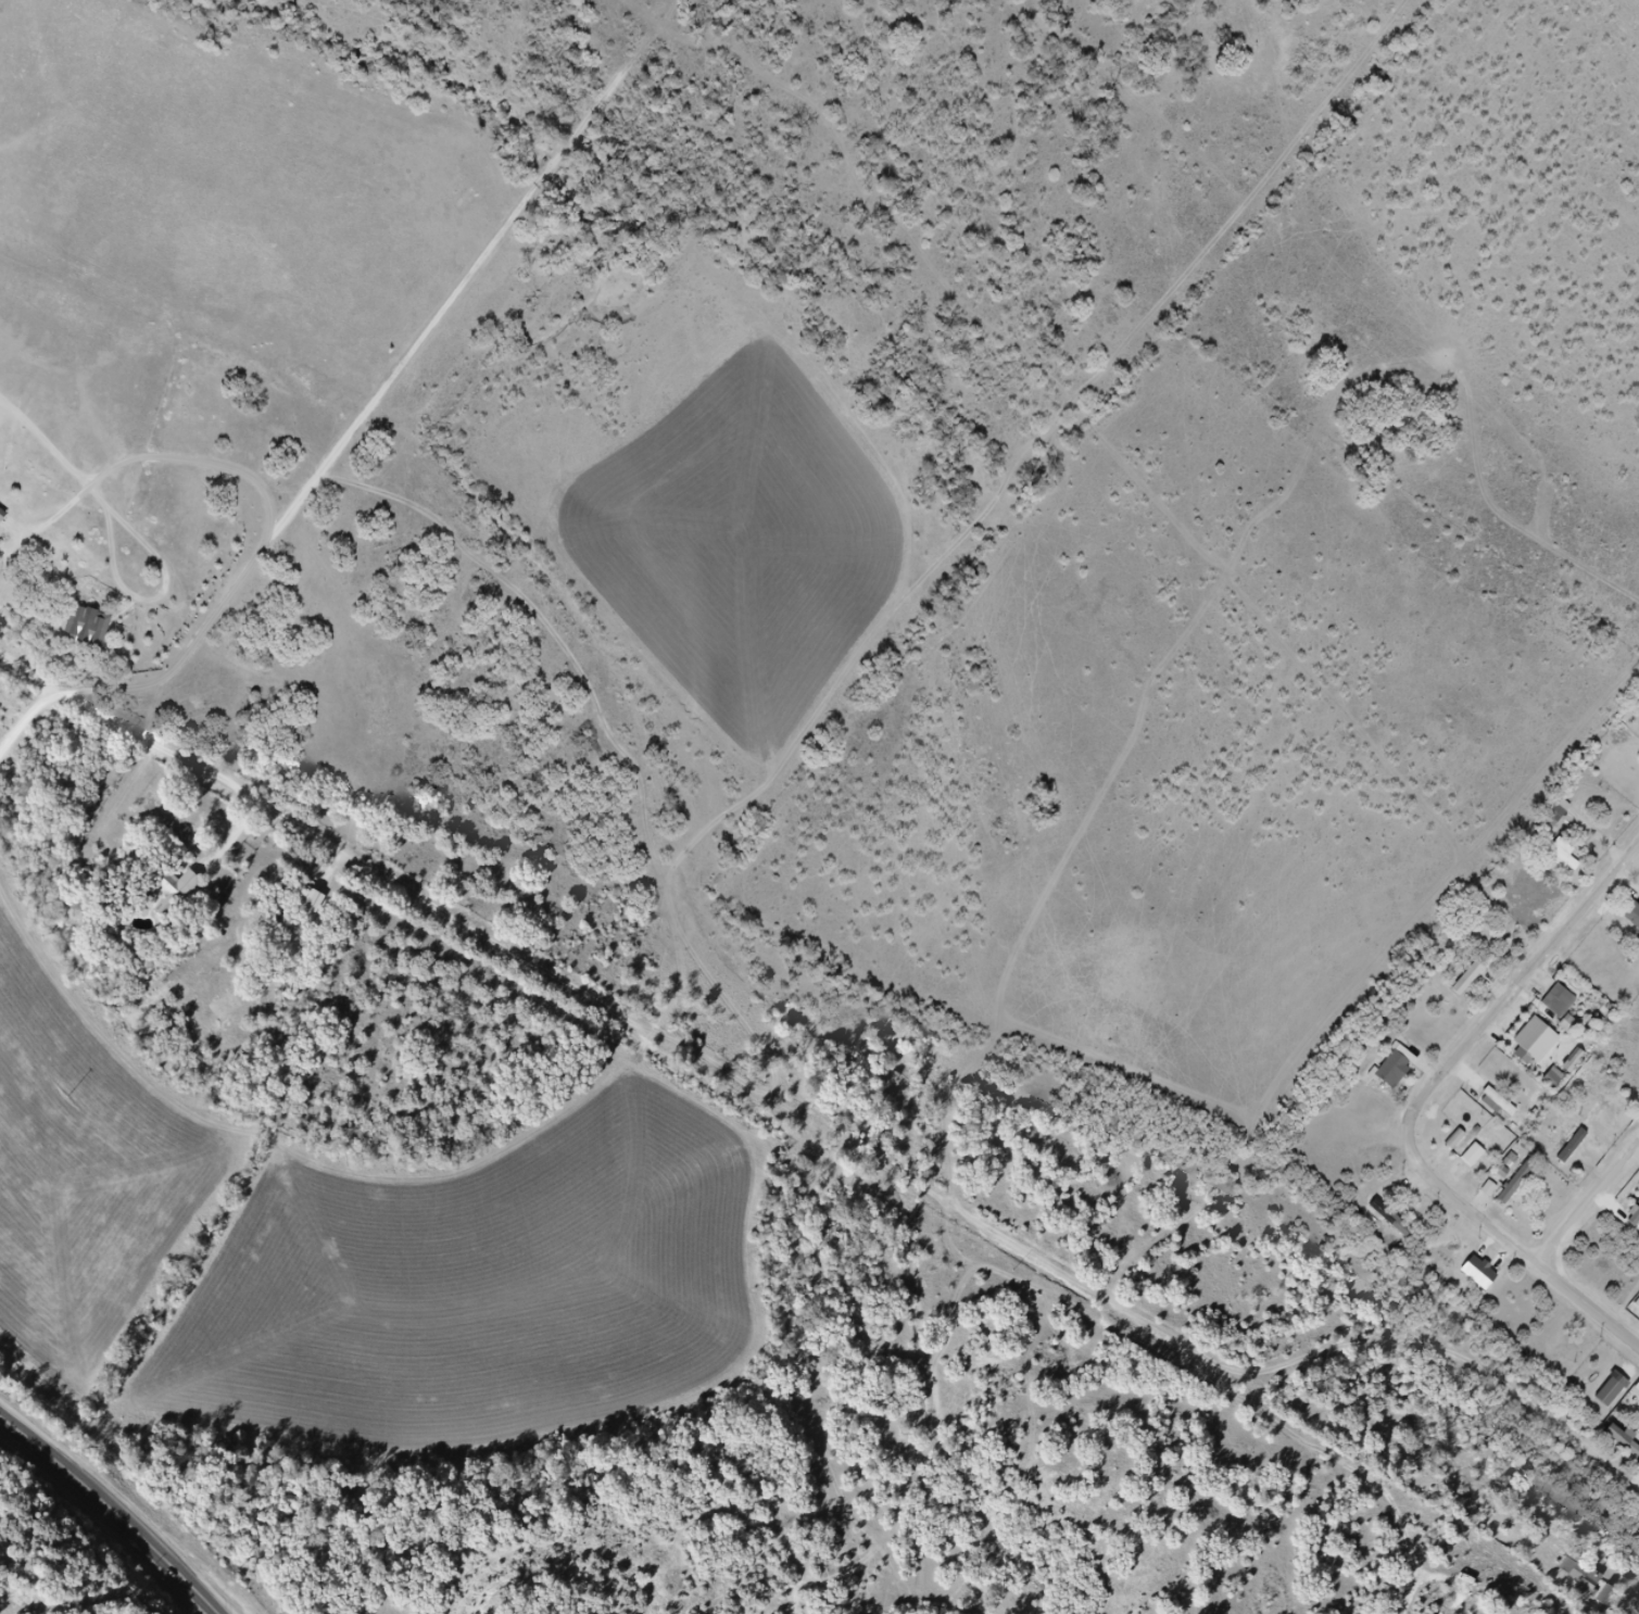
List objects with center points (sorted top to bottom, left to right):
road: (169, 459)
road: (293, 494)
road: (301, 516)
building: (7, 519)
building: (93, 635)
road: (212, 777)
building: (1558, 812)
building: (1565, 858)
building: (177, 898)
building: (1632, 915)
building: (1468, 979)
building: (1560, 1001)
building: (1569, 1025)
building: (1538, 1039)
building: (1401, 1076)
building: (1608, 1100)
building: (1501, 1102)
road: (1422, 1104)
building: (1516, 1183)
road: (1590, 1202)
building: (1398, 1222)
building: (1628, 1443)
road: (113, 1510)
building: (1592, 1585)

